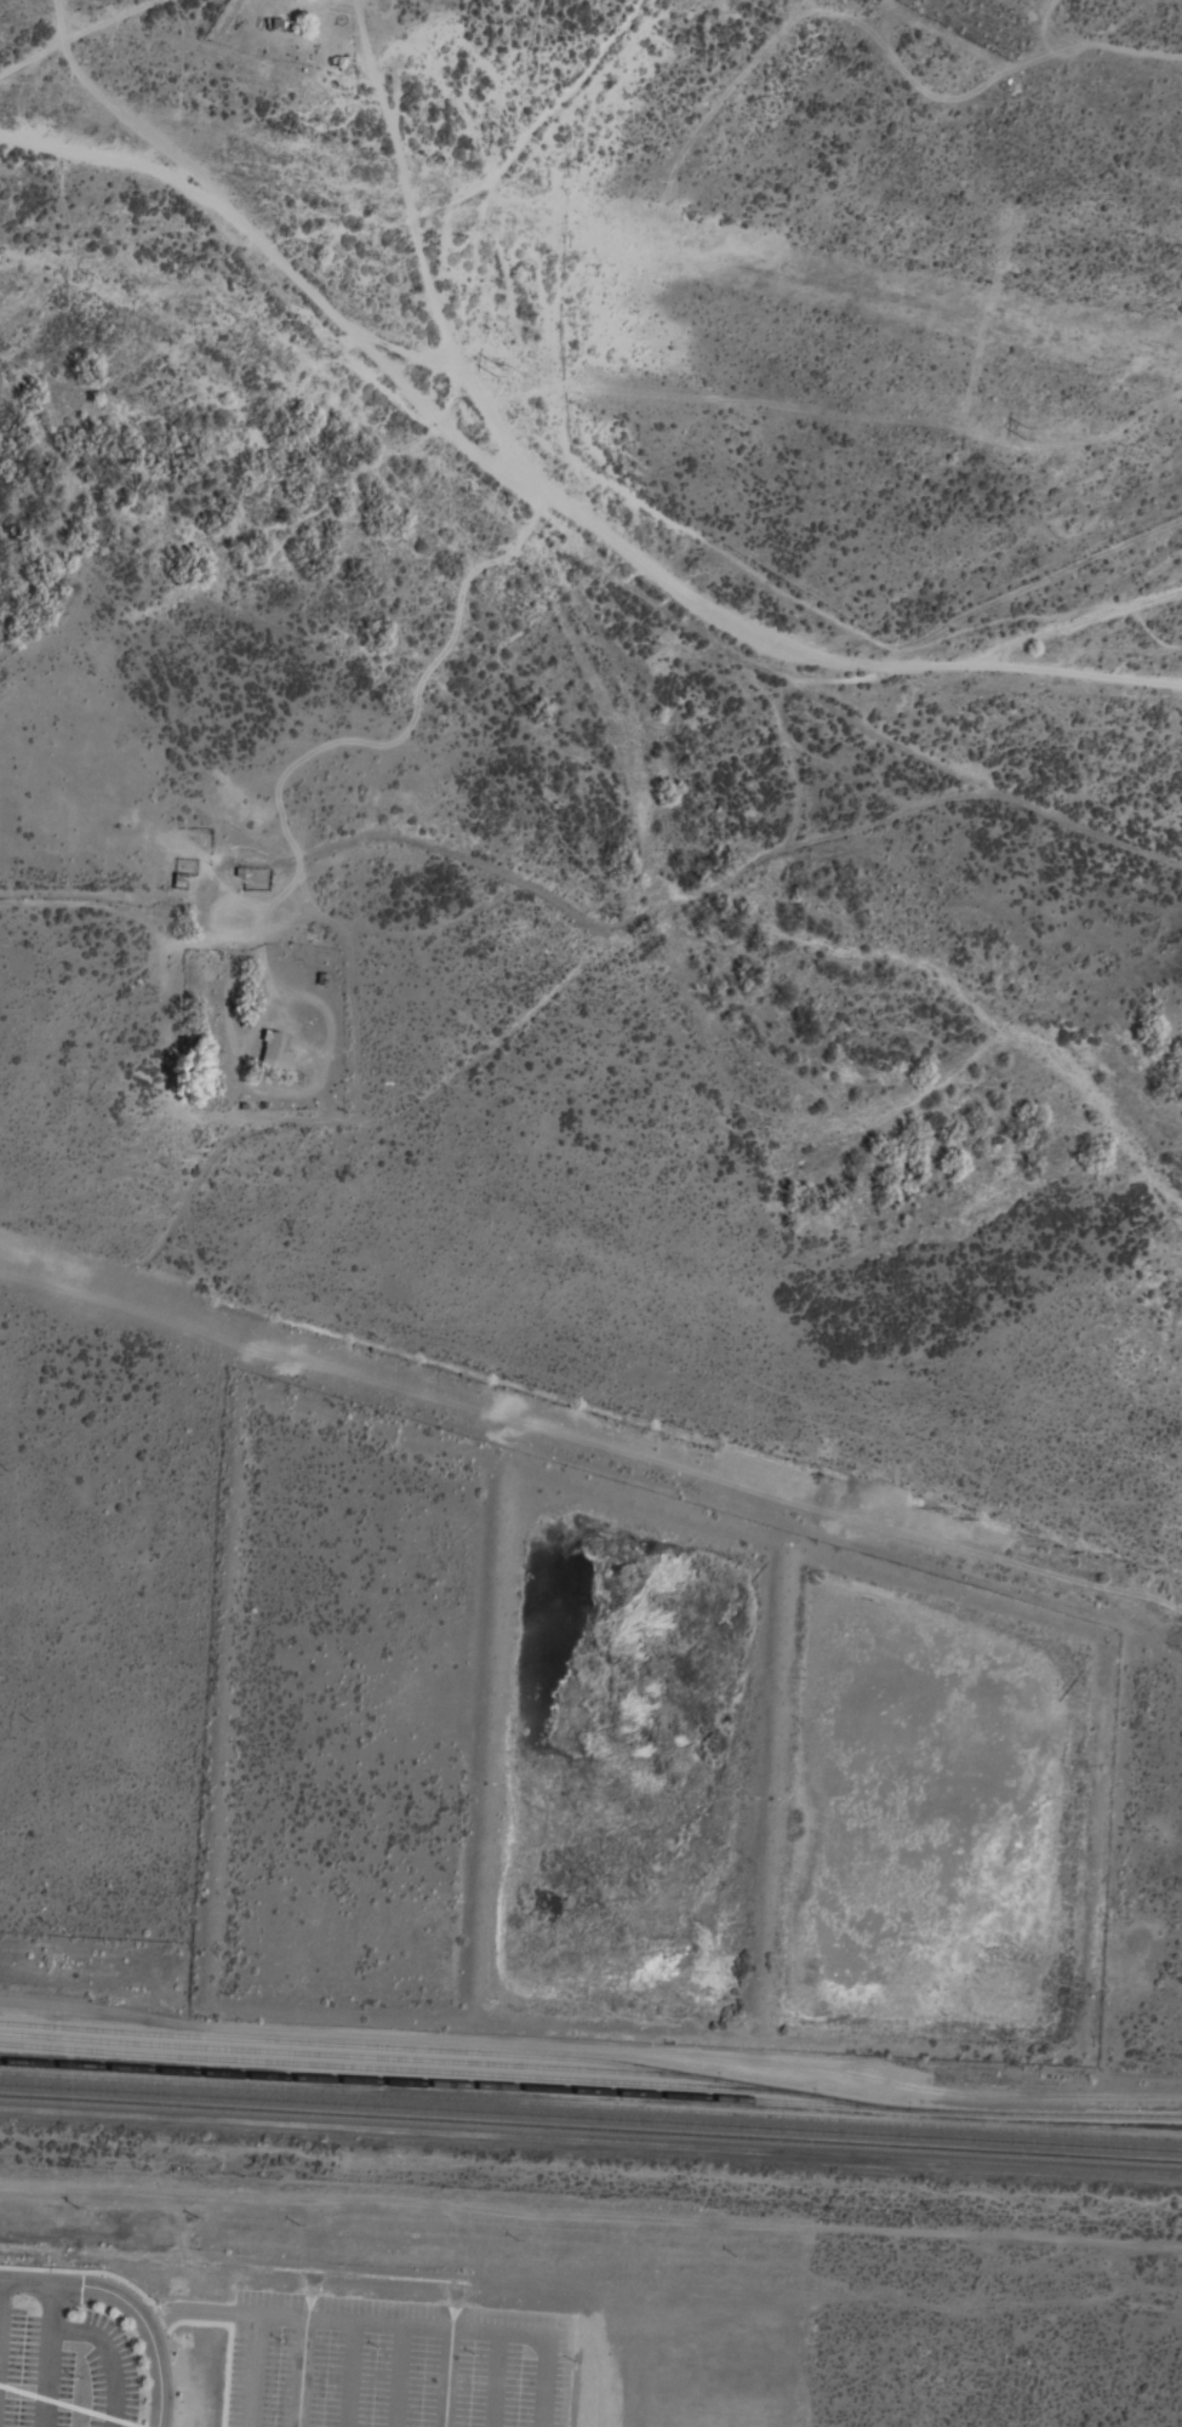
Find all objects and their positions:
power tower: (492, 368)
road: (381, 369)
power tower: (1027, 433)
road: (963, 666)
river: (635, 779)
building: (252, 879)
building: (276, 1053)
road: (588, 1441)
railway: (352, 2044)
railway: (394, 2069)
railway: (592, 2069)
railway: (436, 2085)
railway: (590, 2106)
railway: (590, 2116)
railway: (590, 2130)
road: (0, 2290)
road: (126, 2303)
road: (202, 2319)
road: (410, 2335)
road: (50, 2355)
road: (109, 2357)
parking lot: (394, 2363)
parking lot: (64, 2366)
road: (259, 2375)
road: (313, 2377)
road: (361, 2380)
road: (411, 2381)
road: (458, 2383)
road: (508, 2386)
road: (554, 2387)

